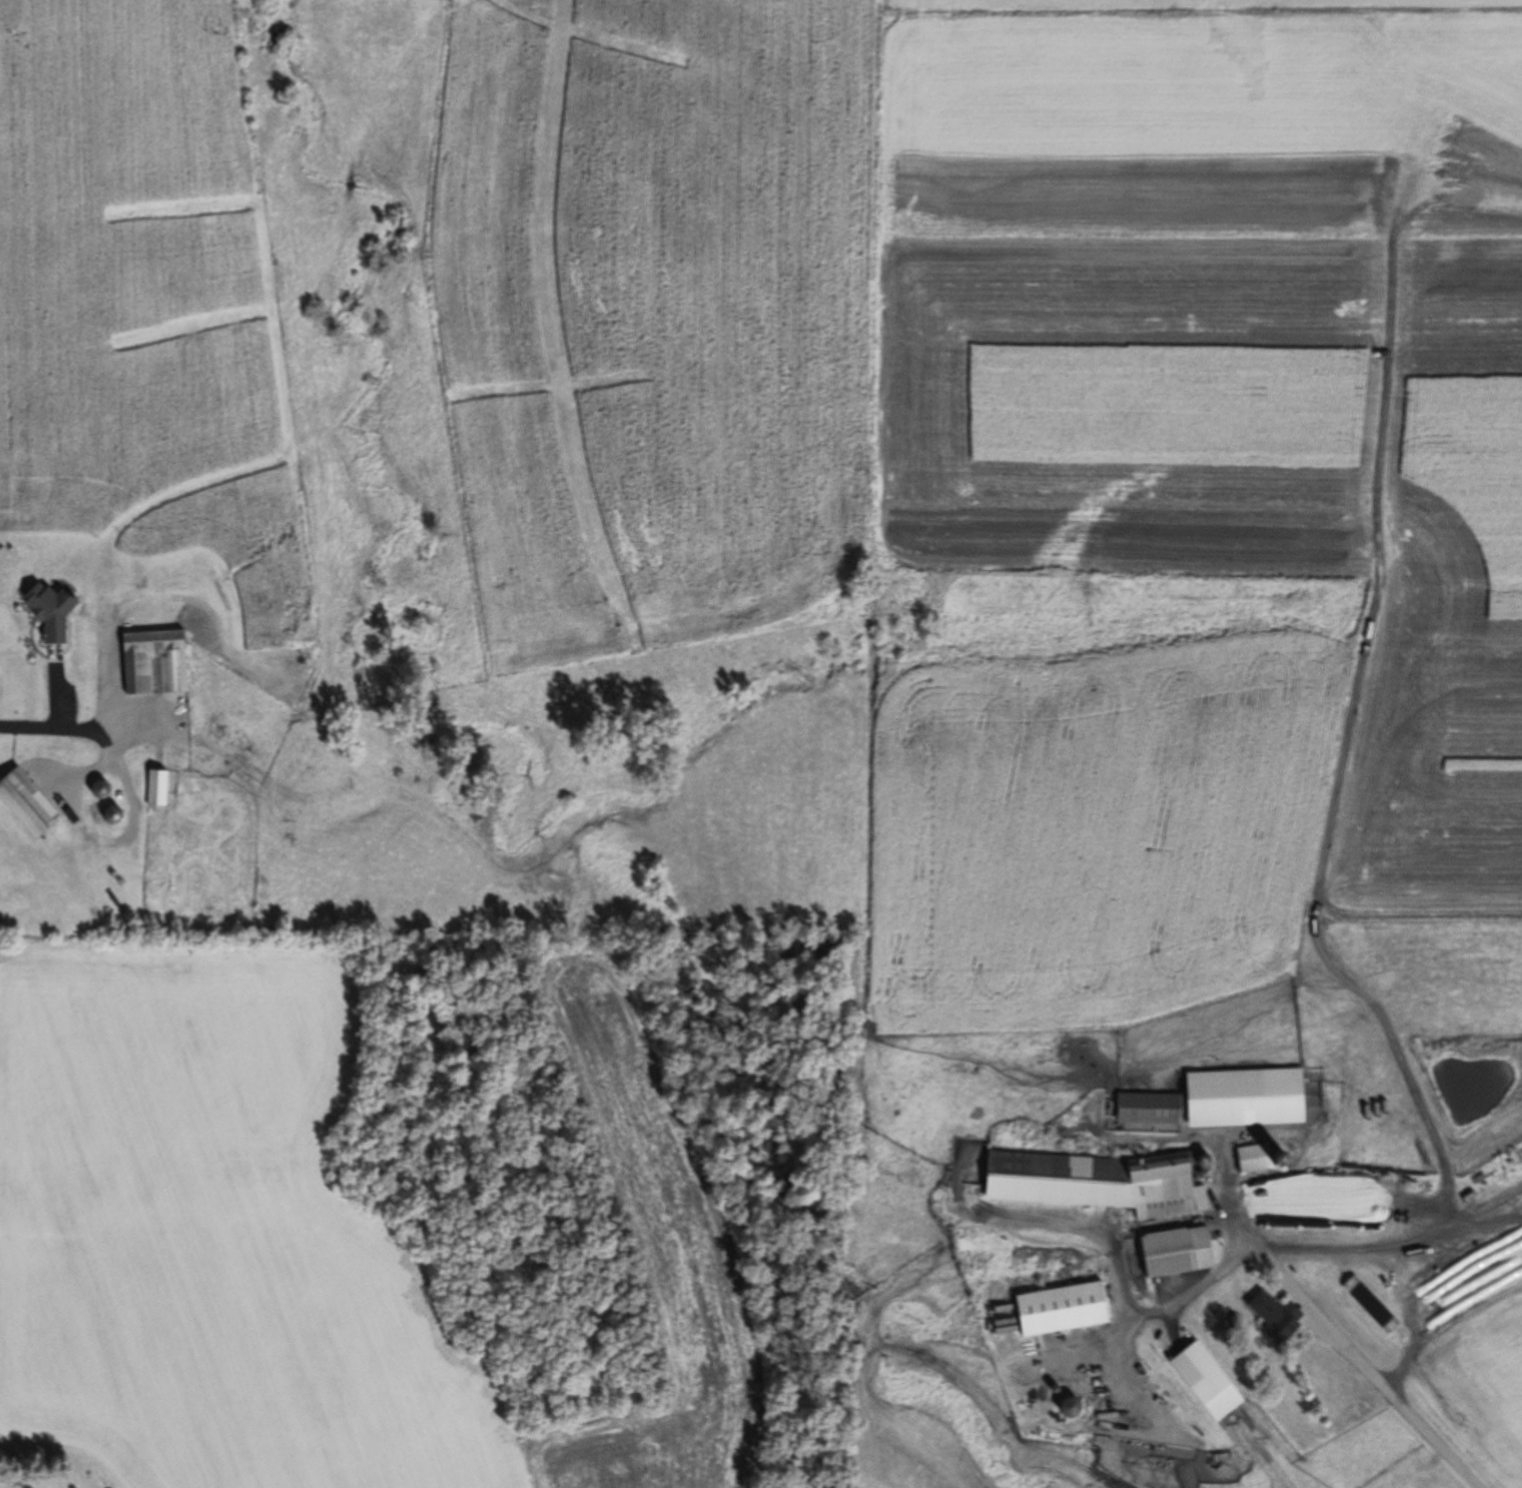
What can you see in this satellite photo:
building: (149, 661)
building: (10, 692)
building: (154, 788)
building: (97, 789)
building: (24, 803)
building: (1215, 1100)
building: (1257, 1159)
building: (1089, 1182)
building: (1487, 1183)
building: (1168, 1252)
building: (1361, 1297)
building: (1055, 1308)
building: (1270, 1316)
road: (1351, 1352)
building: (1200, 1380)

